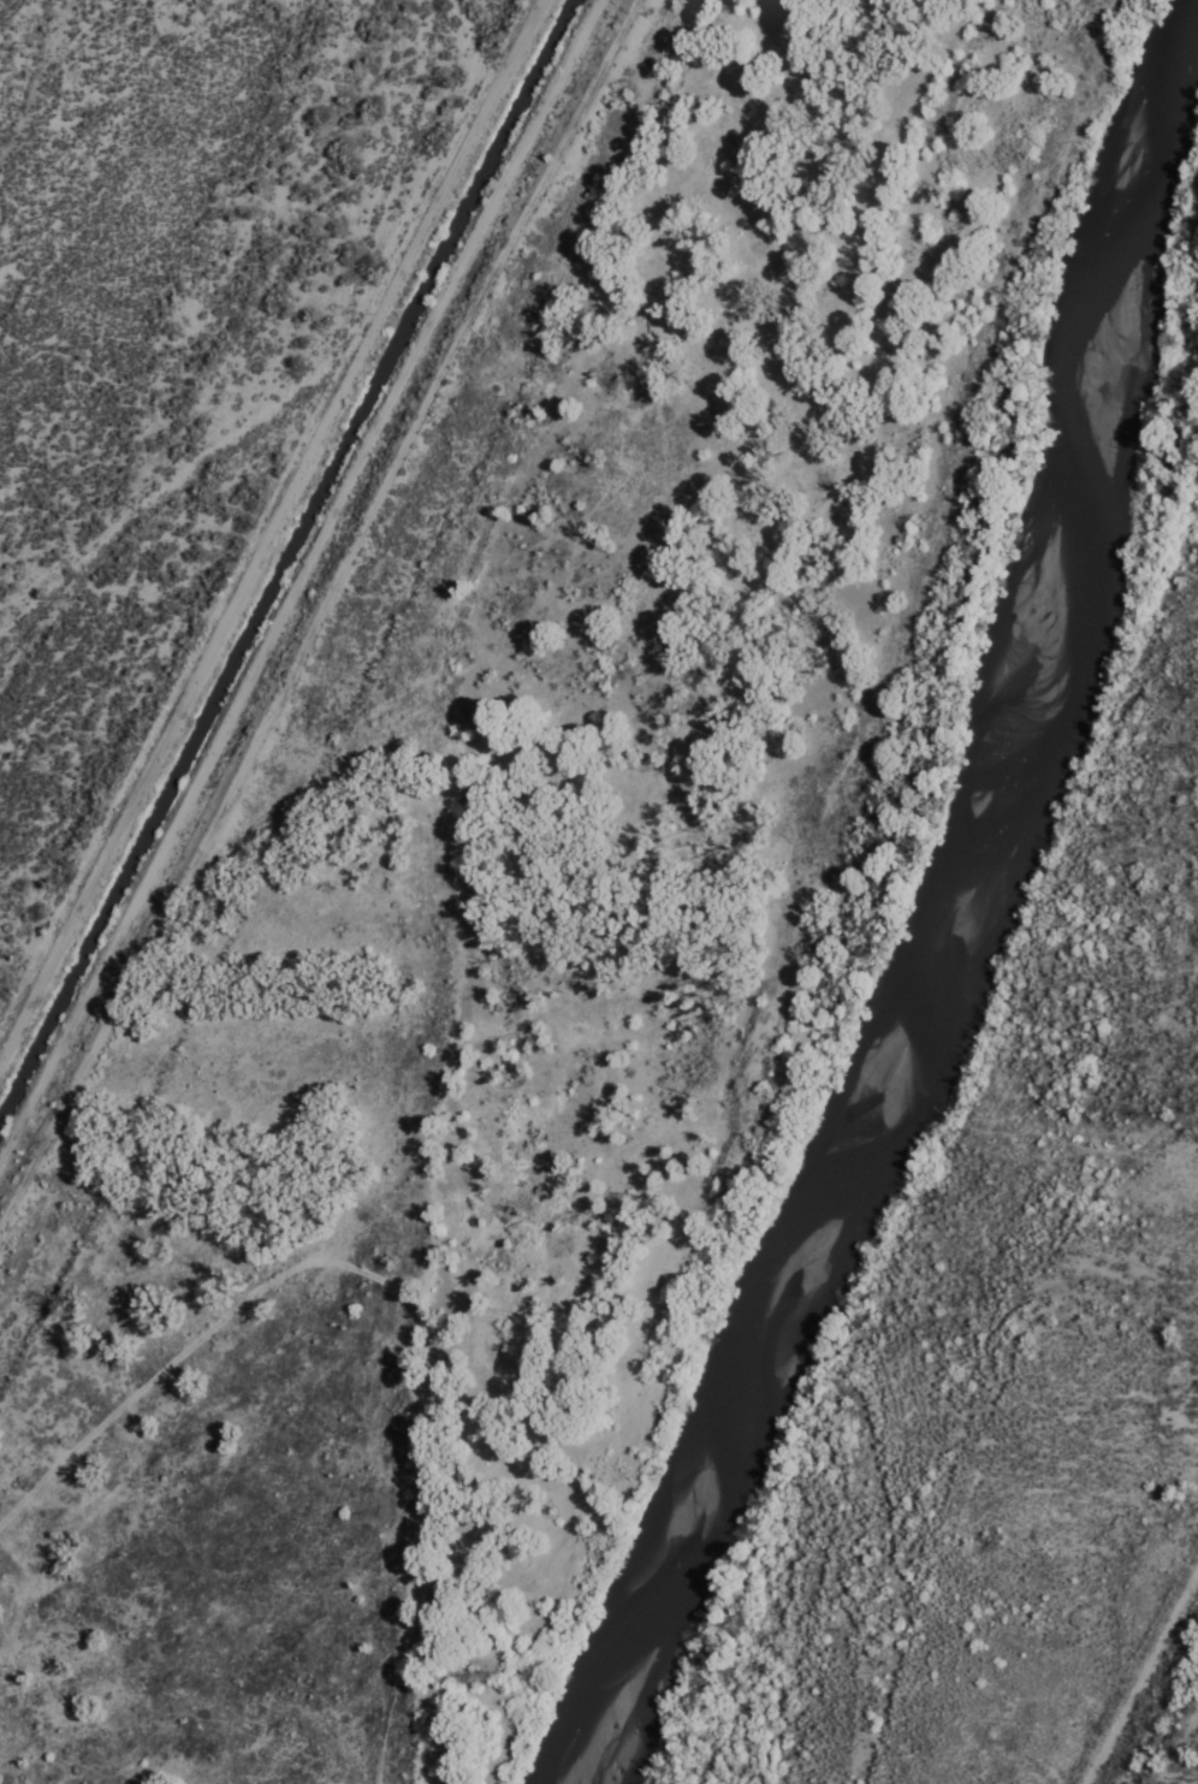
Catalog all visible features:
river: (961, 923)

